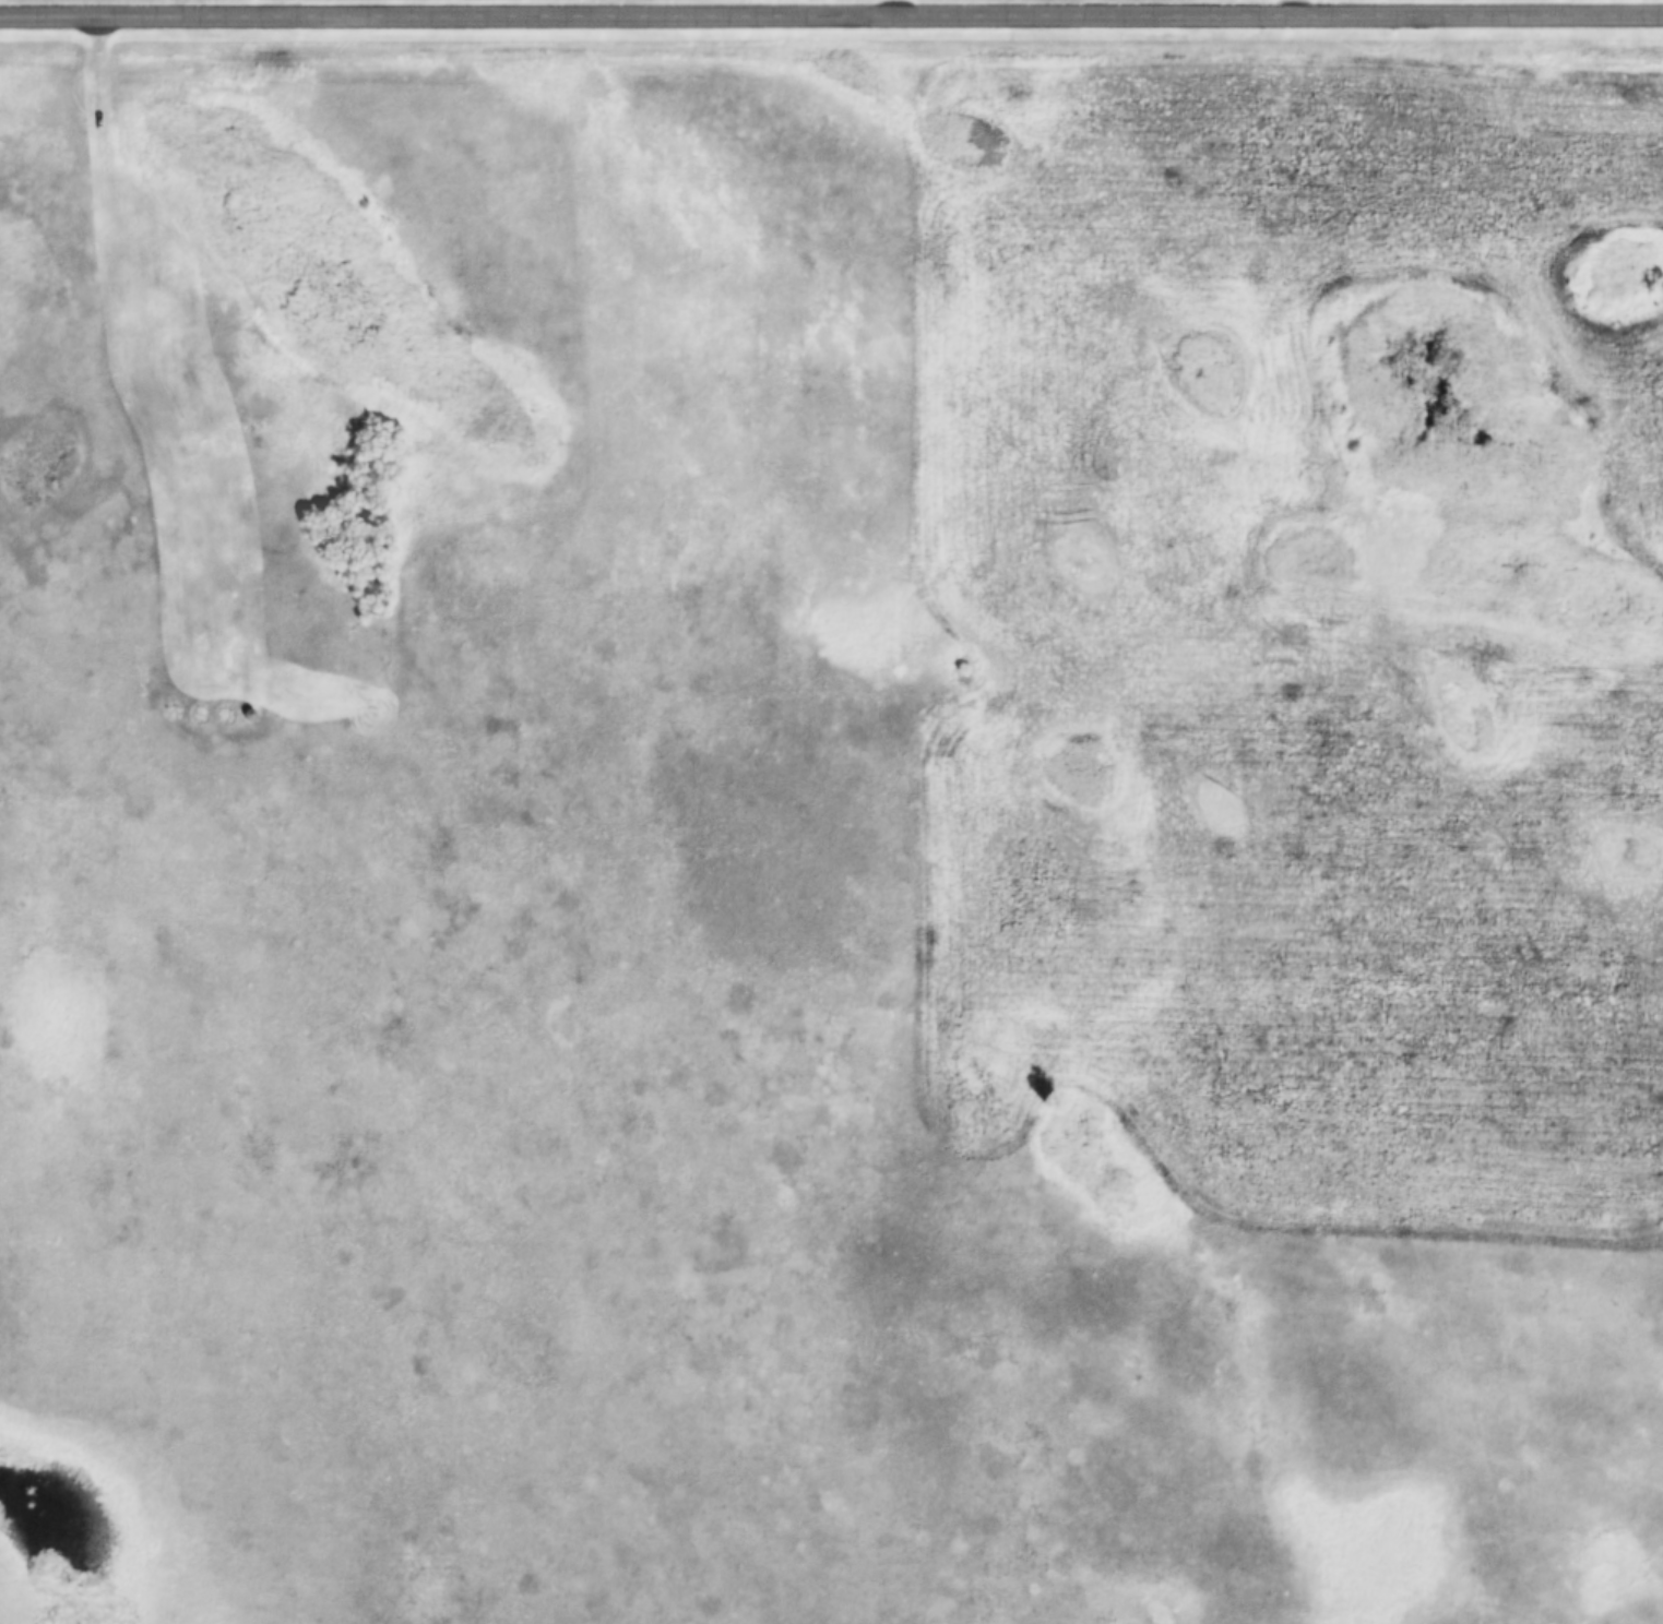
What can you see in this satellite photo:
road: (831, 16)
road: (93, 229)
building: (252, 712)
silo: (252, 712)

